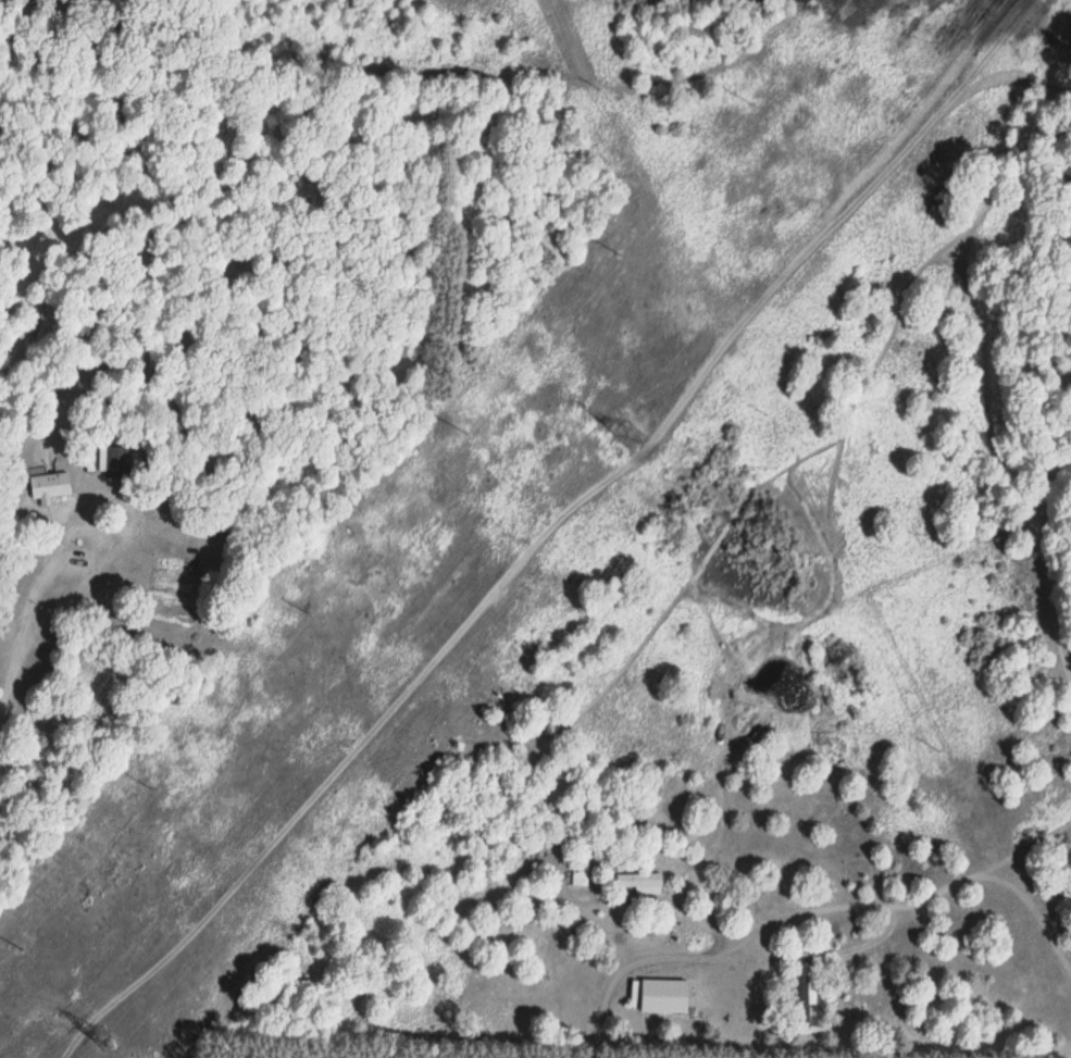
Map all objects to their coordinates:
power tower: (626, 430)
building: (121, 462)
building: (49, 485)
road: (92, 532)
road: (544, 539)
road: (8, 683)
building: (640, 883)
building: (805, 995)
building: (663, 998)
power tower: (104, 1025)

